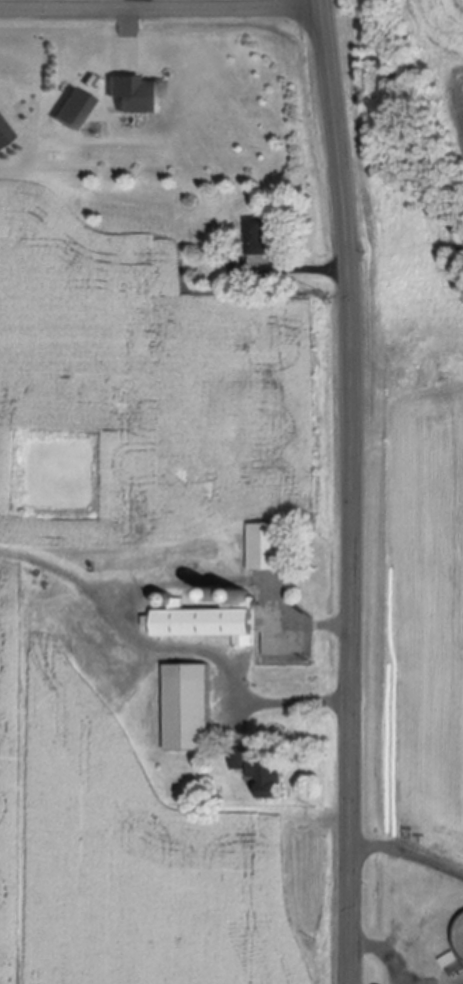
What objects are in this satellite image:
road: (162, 9)
building: (134, 98)
building: (3, 138)
building: (260, 240)
building: (242, 272)
road: (354, 491)
building: (271, 552)
building: (229, 597)
building: (246, 597)
road: (133, 619)
building: (204, 628)
building: (192, 714)
building: (264, 778)
road: (410, 852)
road: (386, 949)
road: (431, 980)

